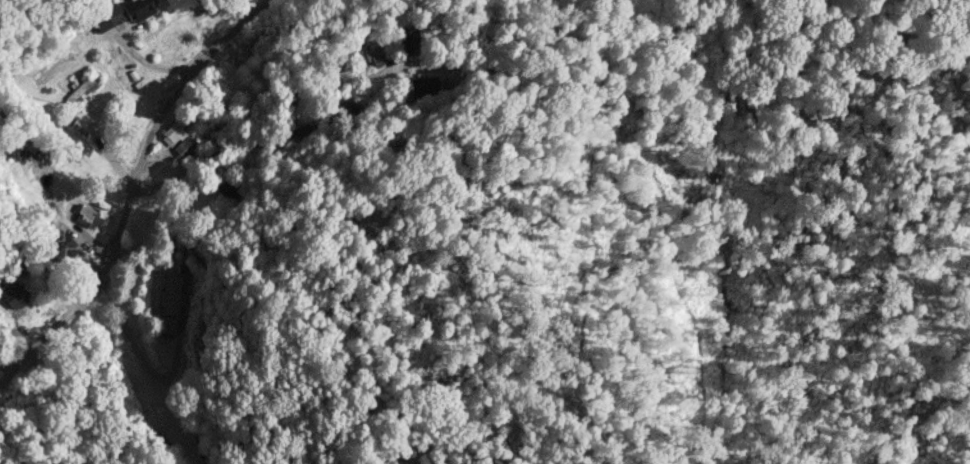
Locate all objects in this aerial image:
building: (138, 9)
building: (108, 17)
building: (410, 41)
building: (376, 56)
building: (424, 85)
building: (84, 86)
building: (179, 139)
building: (225, 189)
road: (132, 191)
building: (87, 216)
building: (61, 246)
building: (12, 294)
building: (171, 302)
building: (2, 359)

